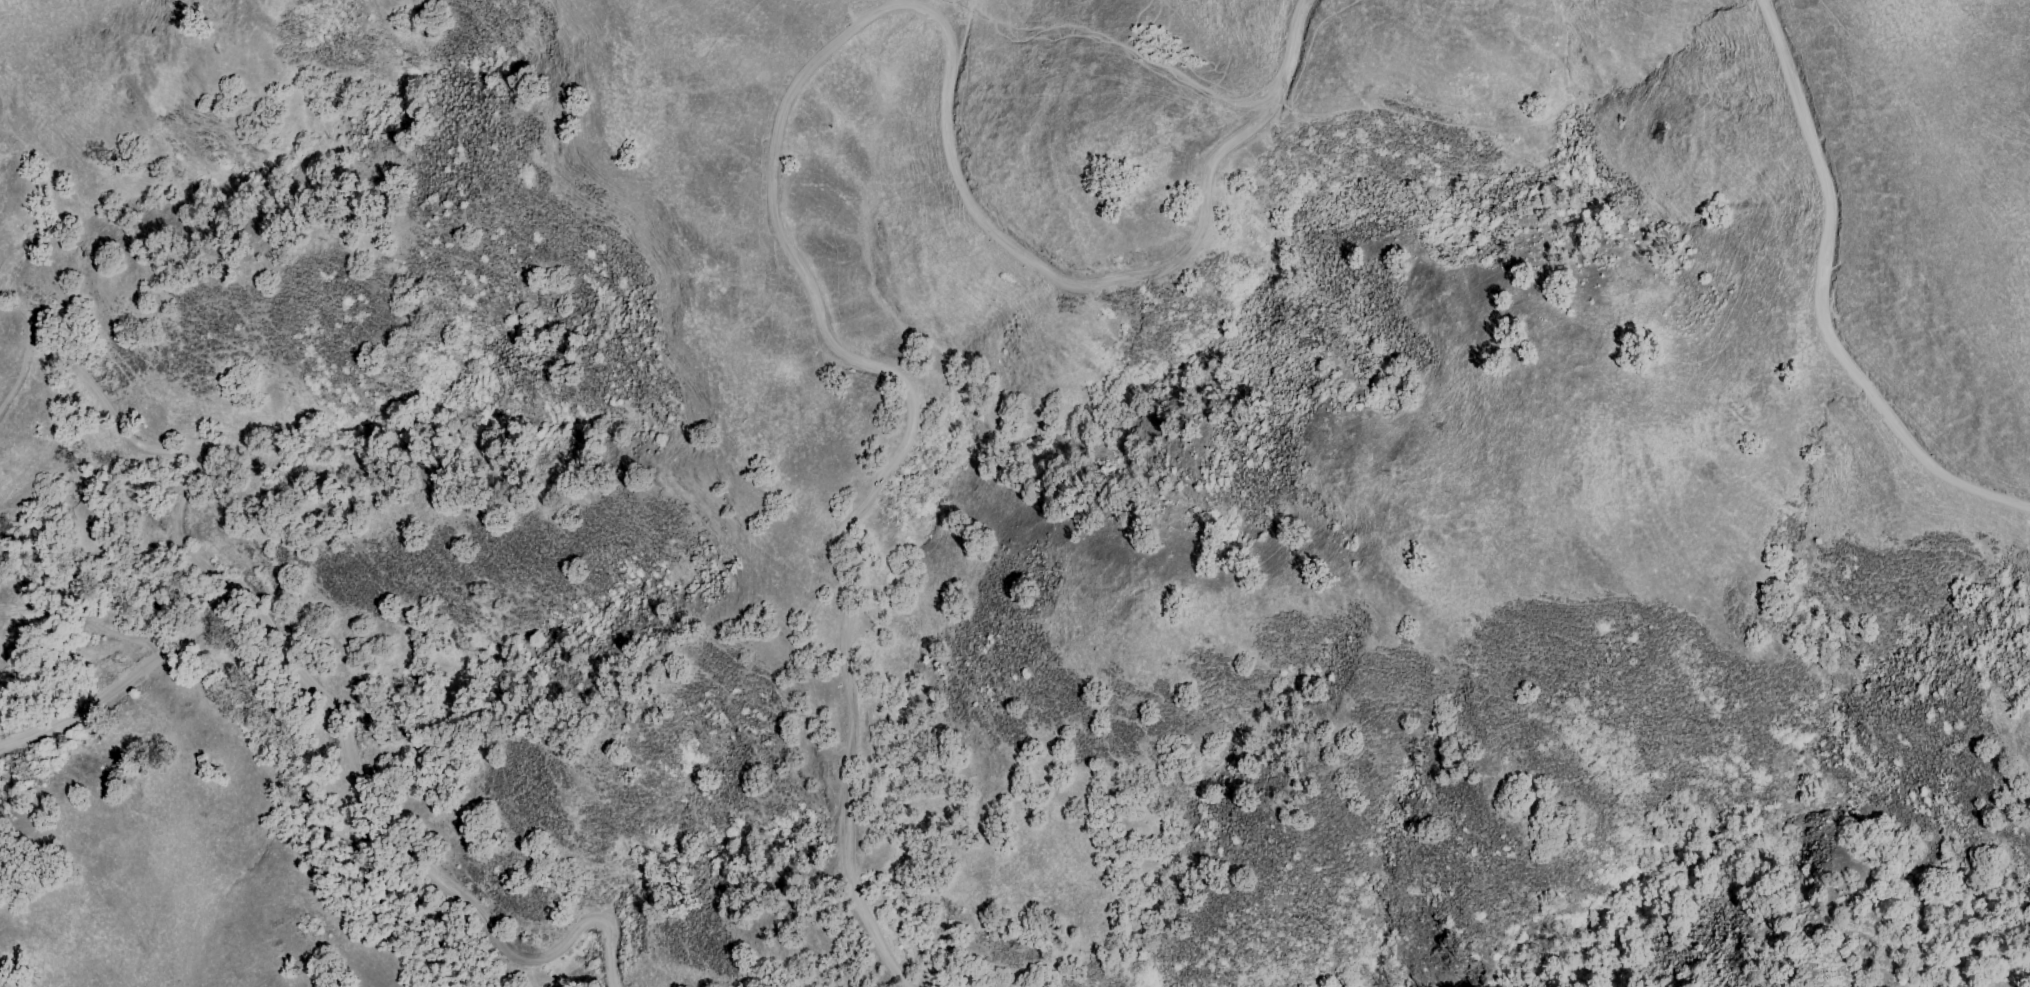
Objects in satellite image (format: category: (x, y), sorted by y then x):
road: (793, 122)
road: (1823, 295)
road: (343, 726)

